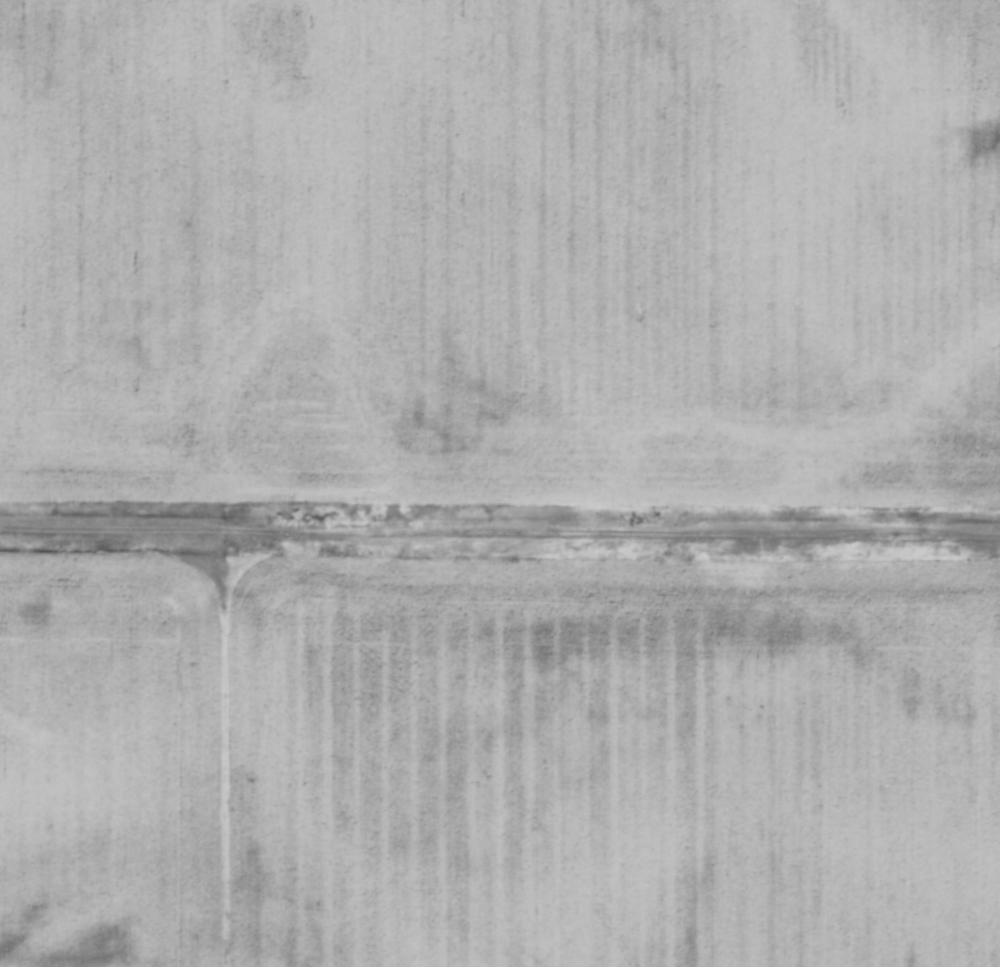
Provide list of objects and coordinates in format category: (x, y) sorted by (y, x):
crop: (501, 249)
road: (500, 524)

